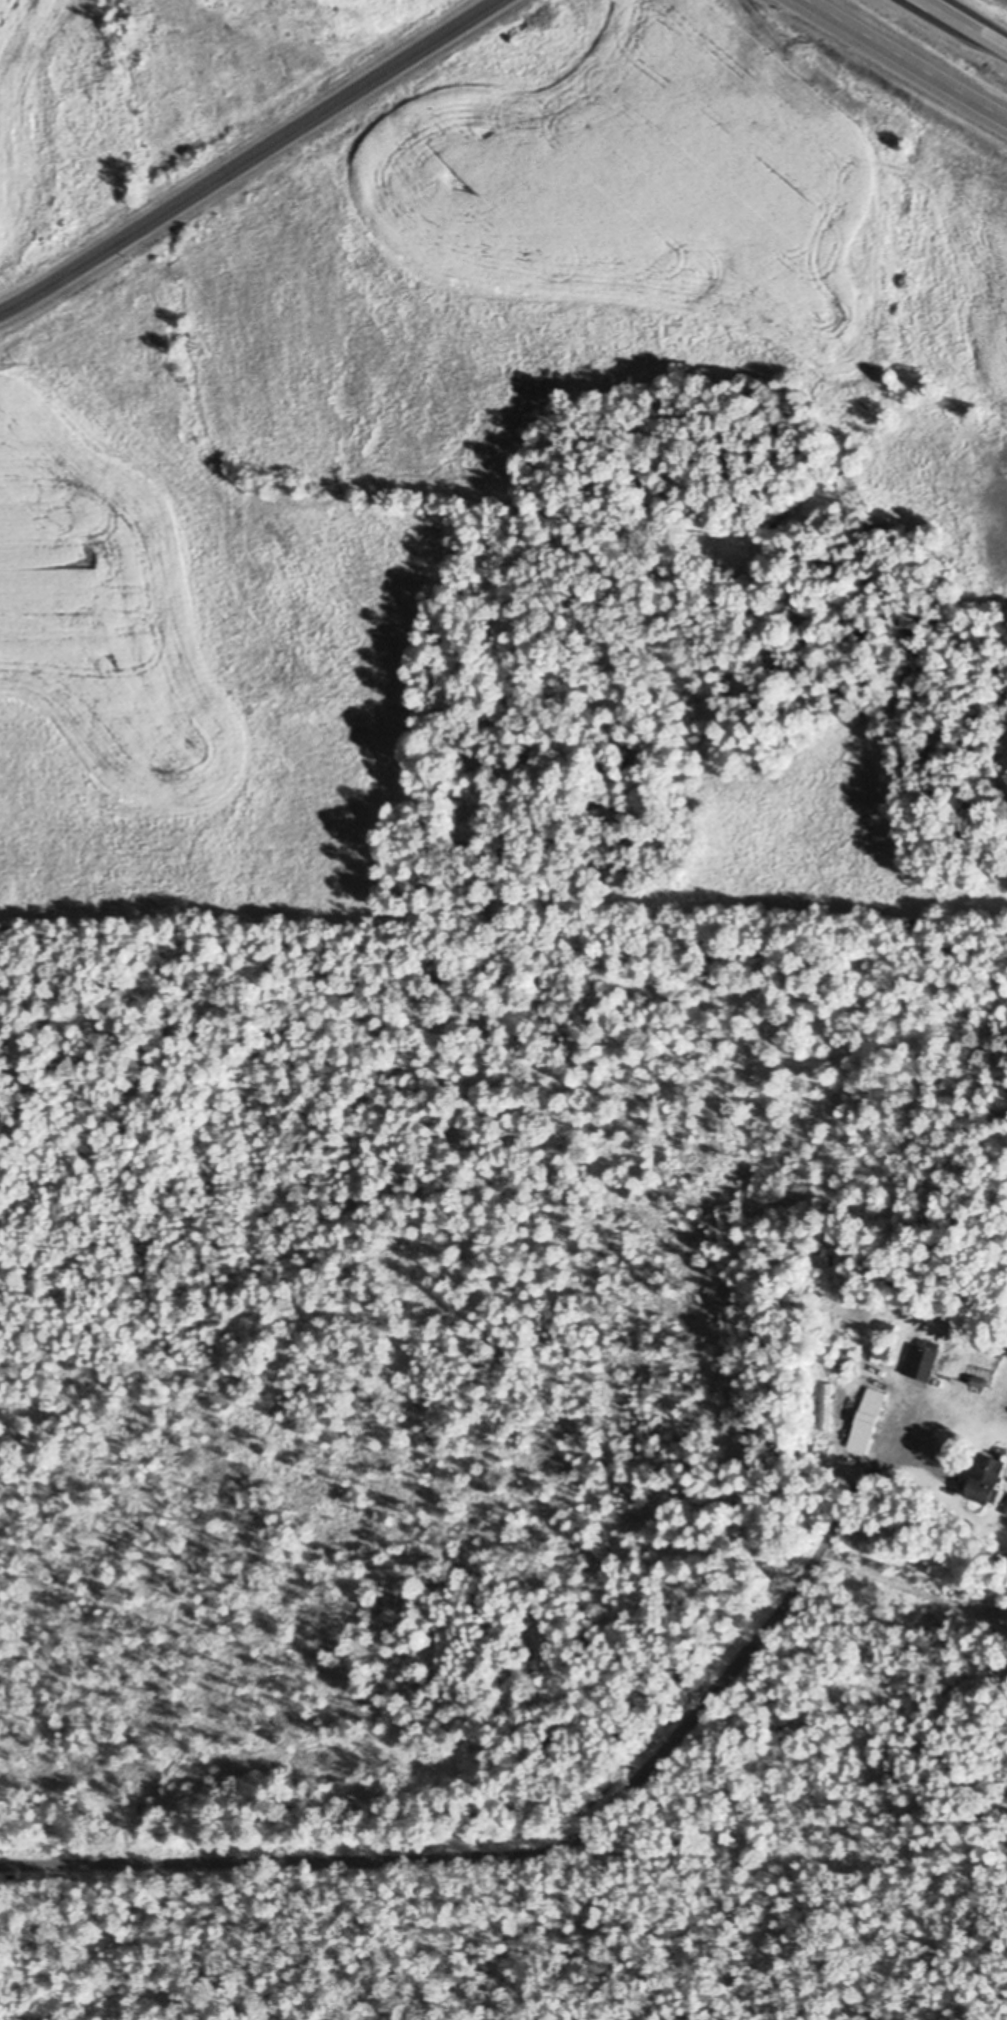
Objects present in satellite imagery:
road: (967, 23)
road: (905, 60)
road: (246, 156)
building: (923, 1359)
building: (863, 1417)
building: (989, 1479)
road: (536, 1854)

